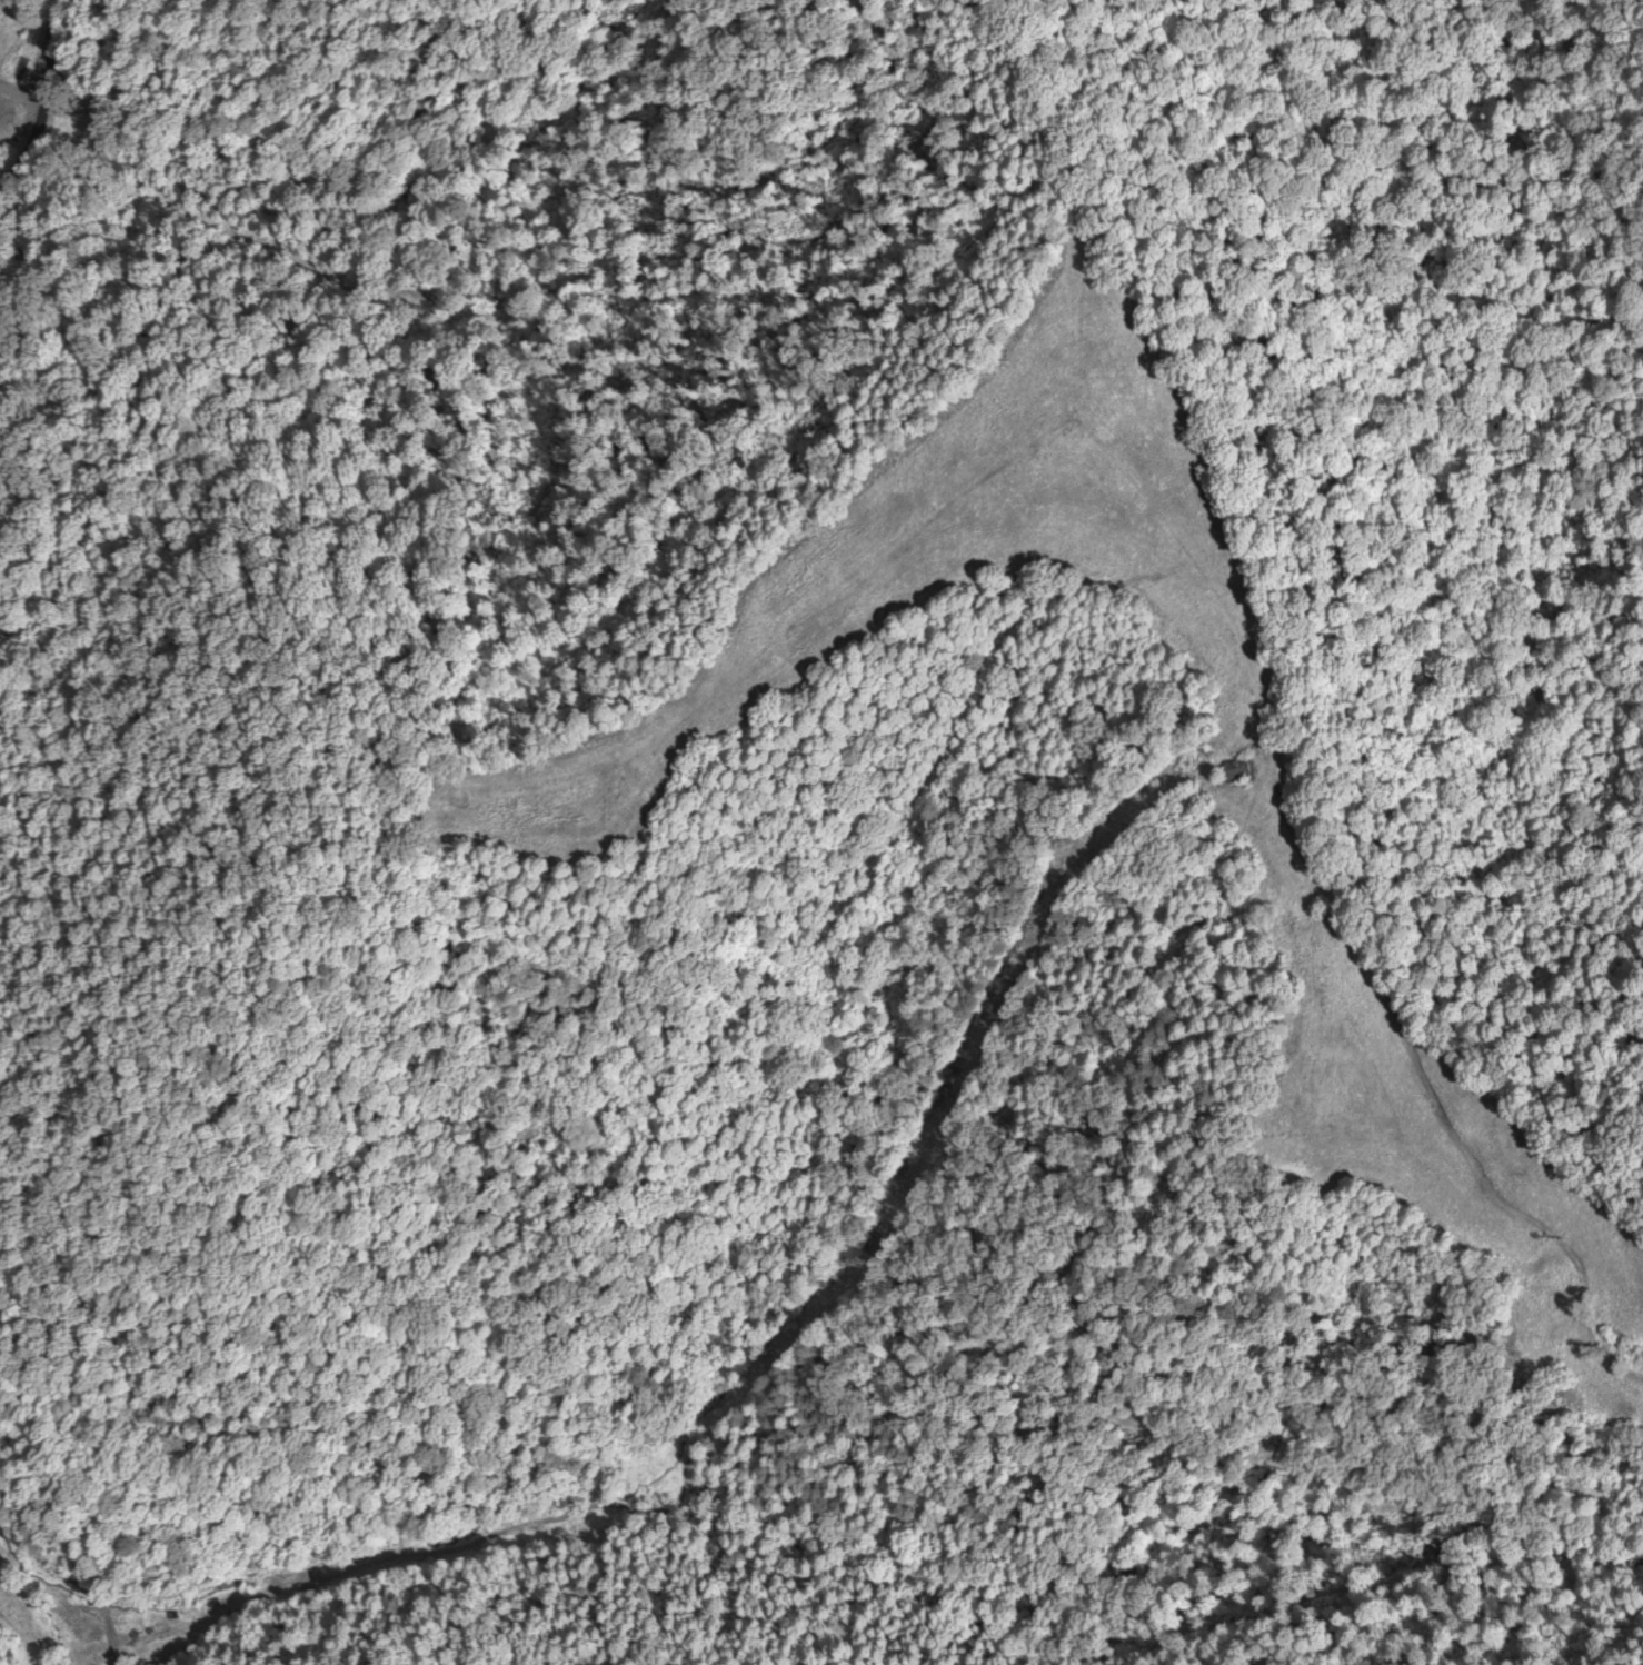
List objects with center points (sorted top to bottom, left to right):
road: (68, 133)
building: (1236, 771)
road: (1562, 1087)
road: (993, 1185)

